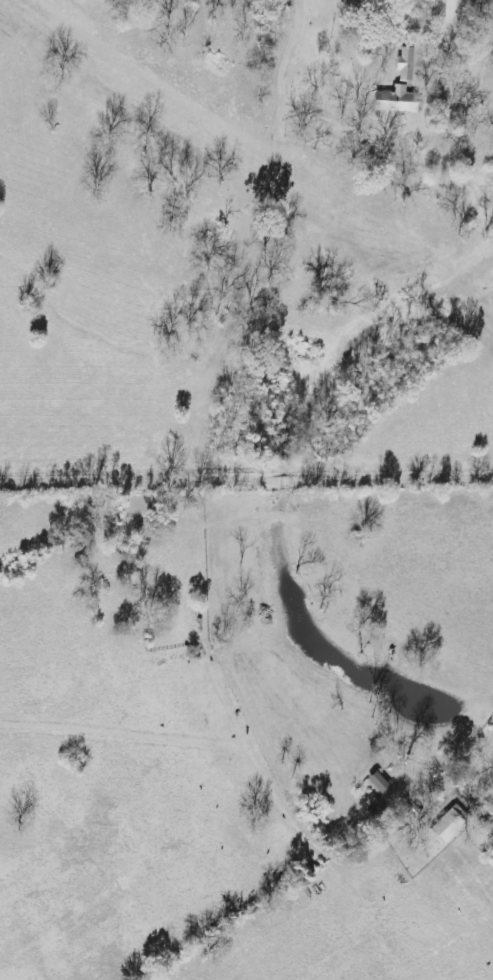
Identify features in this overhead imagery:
building: (454, 12)
building: (404, 65)
road: (278, 93)
building: (399, 101)
road: (479, 755)
building: (381, 783)

